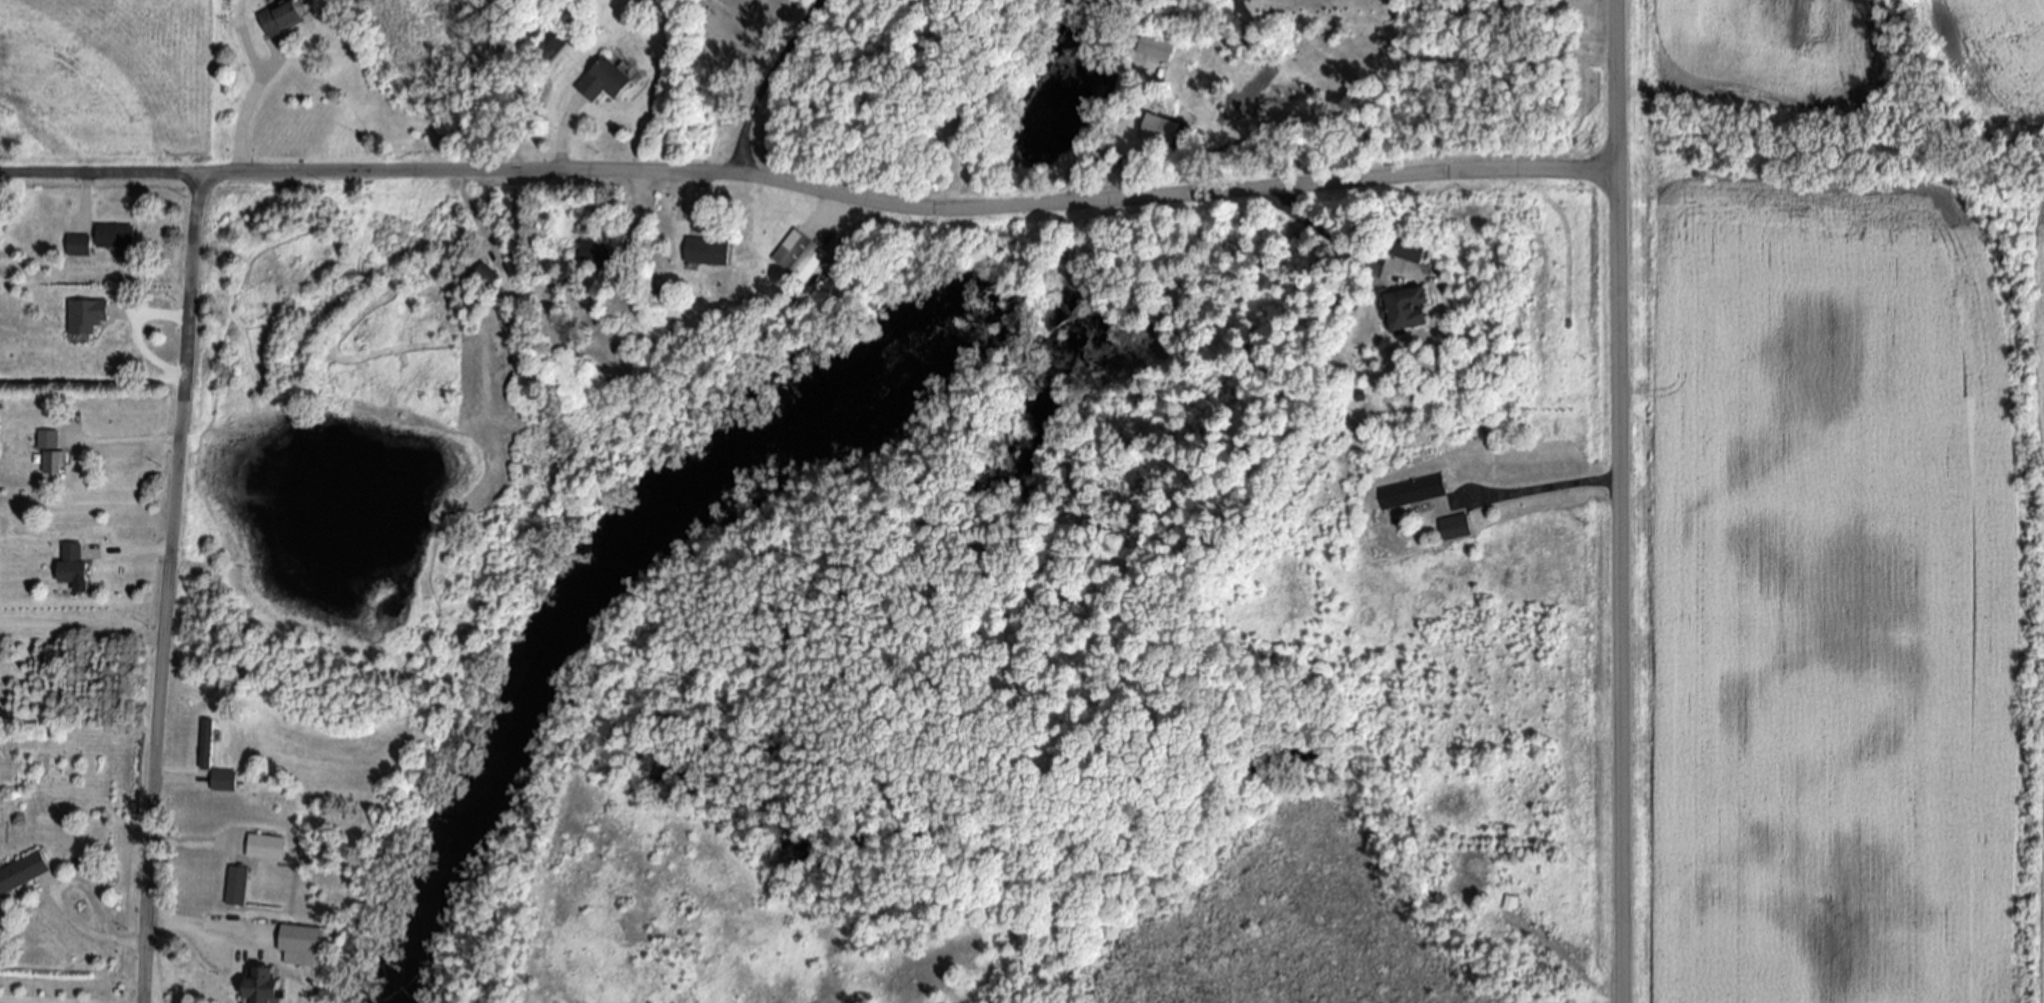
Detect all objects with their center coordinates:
building: (284, 18)
building: (553, 43)
building: (1160, 48)
road: (1413, 55)
building: (607, 80)
road: (766, 81)
road: (246, 113)
building: (1163, 131)
road: (1106, 134)
road: (563, 140)
road: (99, 175)
road: (641, 187)
road: (84, 192)
road: (698, 194)
road: (907, 208)
building: (117, 236)
building: (80, 245)
building: (712, 251)
building: (1416, 252)
building: (600, 253)
building: (802, 255)
building: (489, 275)
building: (1414, 309)
building: (88, 316)
road: (163, 378)
road: (129, 439)
building: (49, 440)
building: (54, 462)
road: (1544, 485)
building: (1412, 491)
road: (1618, 501)
building: (1458, 527)
road: (136, 550)
building: (74, 565)
road: (169, 589)
road: (82, 626)
building: (209, 743)
road: (170, 777)
building: (227, 780)
road: (189, 845)
building: (267, 846)
building: (24, 872)
building: (239, 886)
road: (60, 901)
building: (1511, 903)
road: (204, 932)
building: (307, 944)
building: (266, 985)
road: (18, 1001)

